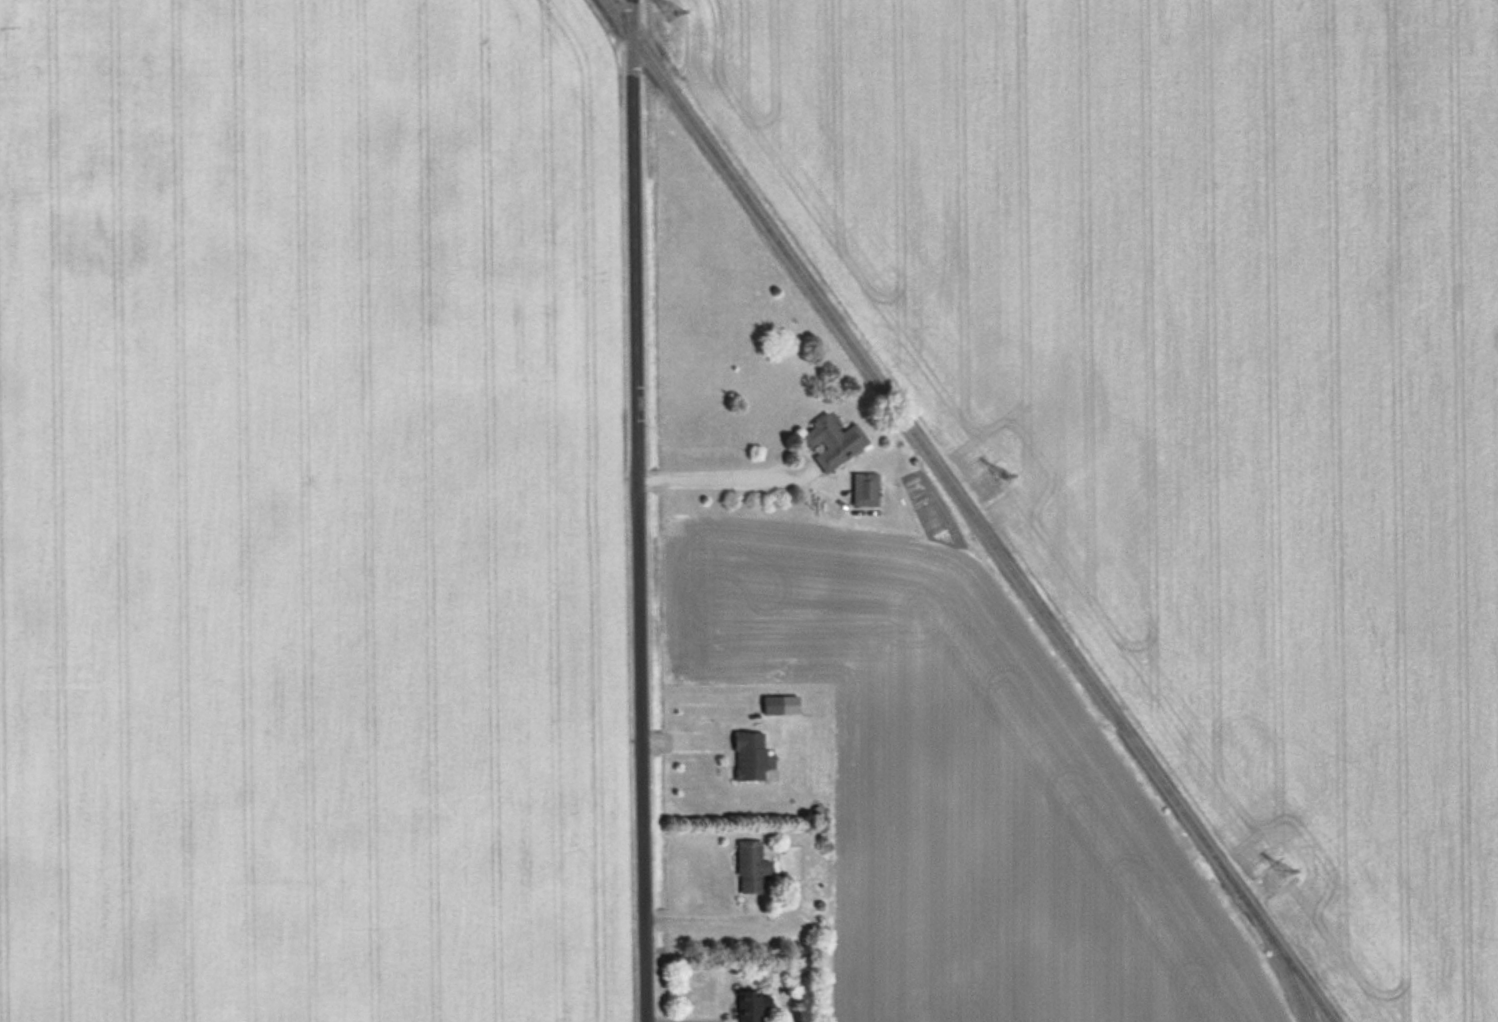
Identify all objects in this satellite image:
building: (670, 9)
power tower: (672, 14)
building: (833, 440)
railway: (924, 447)
road: (735, 476)
power tower: (1003, 480)
building: (866, 488)
road: (633, 511)
building: (772, 704)
building: (749, 755)
building: (750, 866)
power tower: (1283, 875)
road: (702, 918)
railway: (1279, 956)
railway: (1286, 959)
building: (748, 1006)

